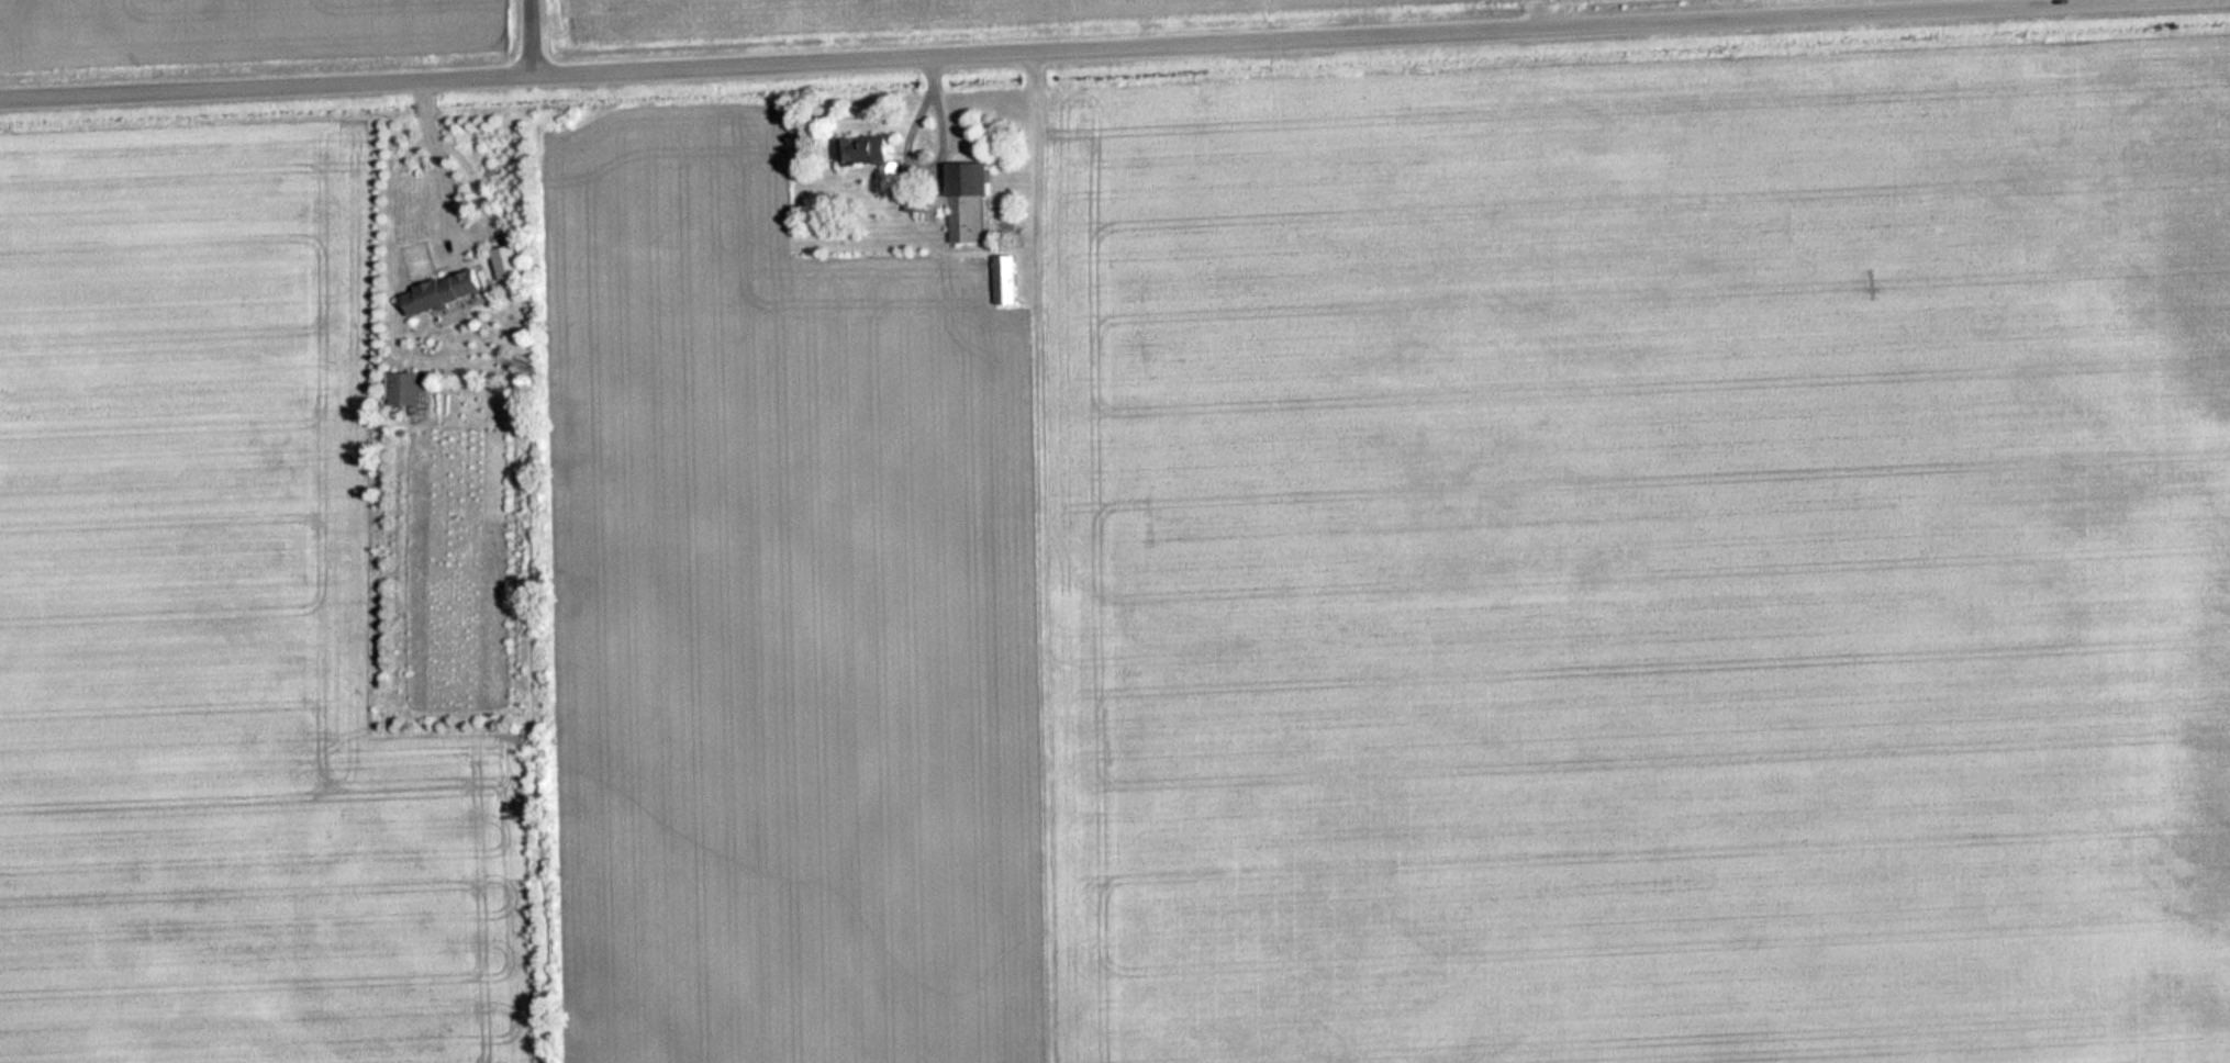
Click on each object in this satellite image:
road: (534, 40)
road: (1073, 52)
building: (868, 150)
building: (971, 201)
building: (925, 204)
building: (510, 262)
building: (1007, 280)
building: (447, 292)
building: (409, 388)

